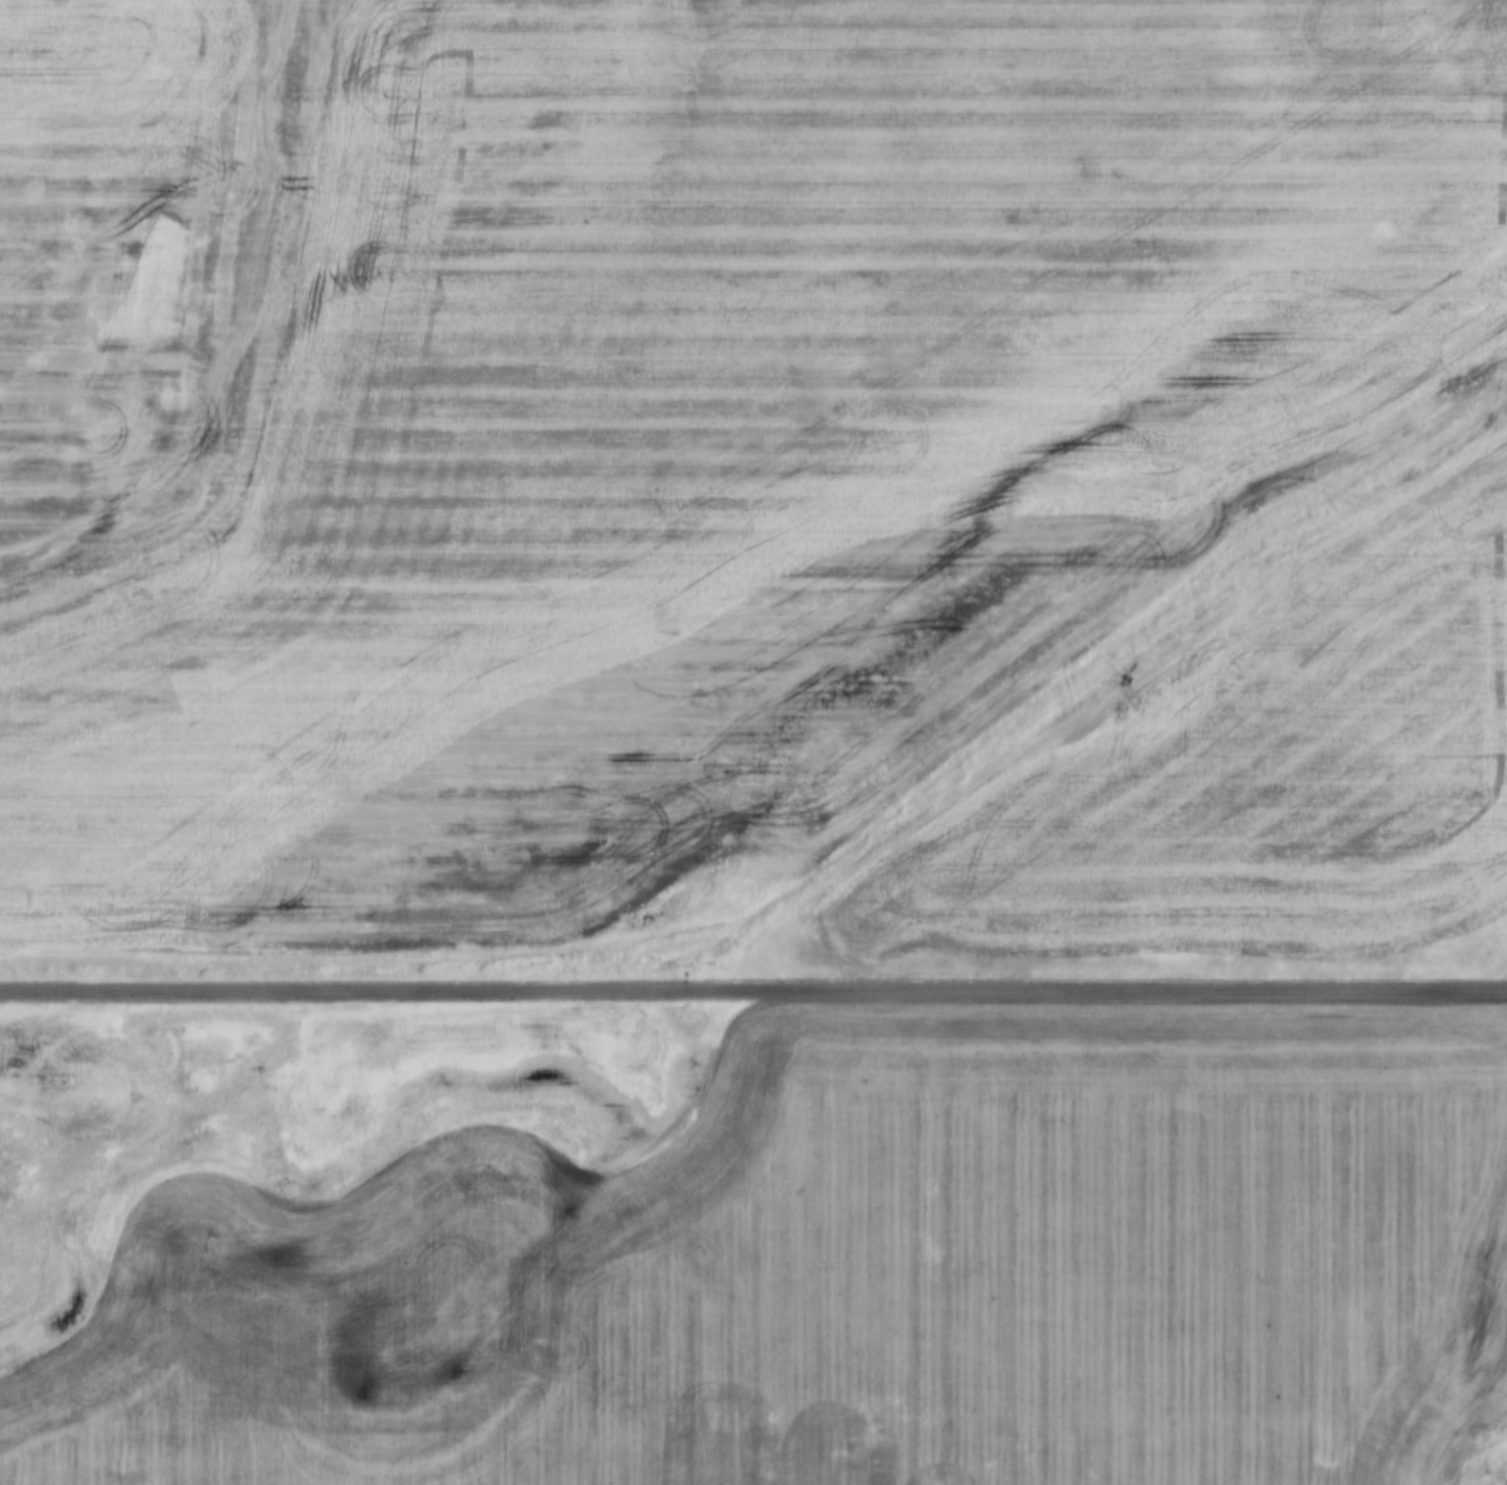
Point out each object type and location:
road: (753, 991)
road: (1458, 1448)

